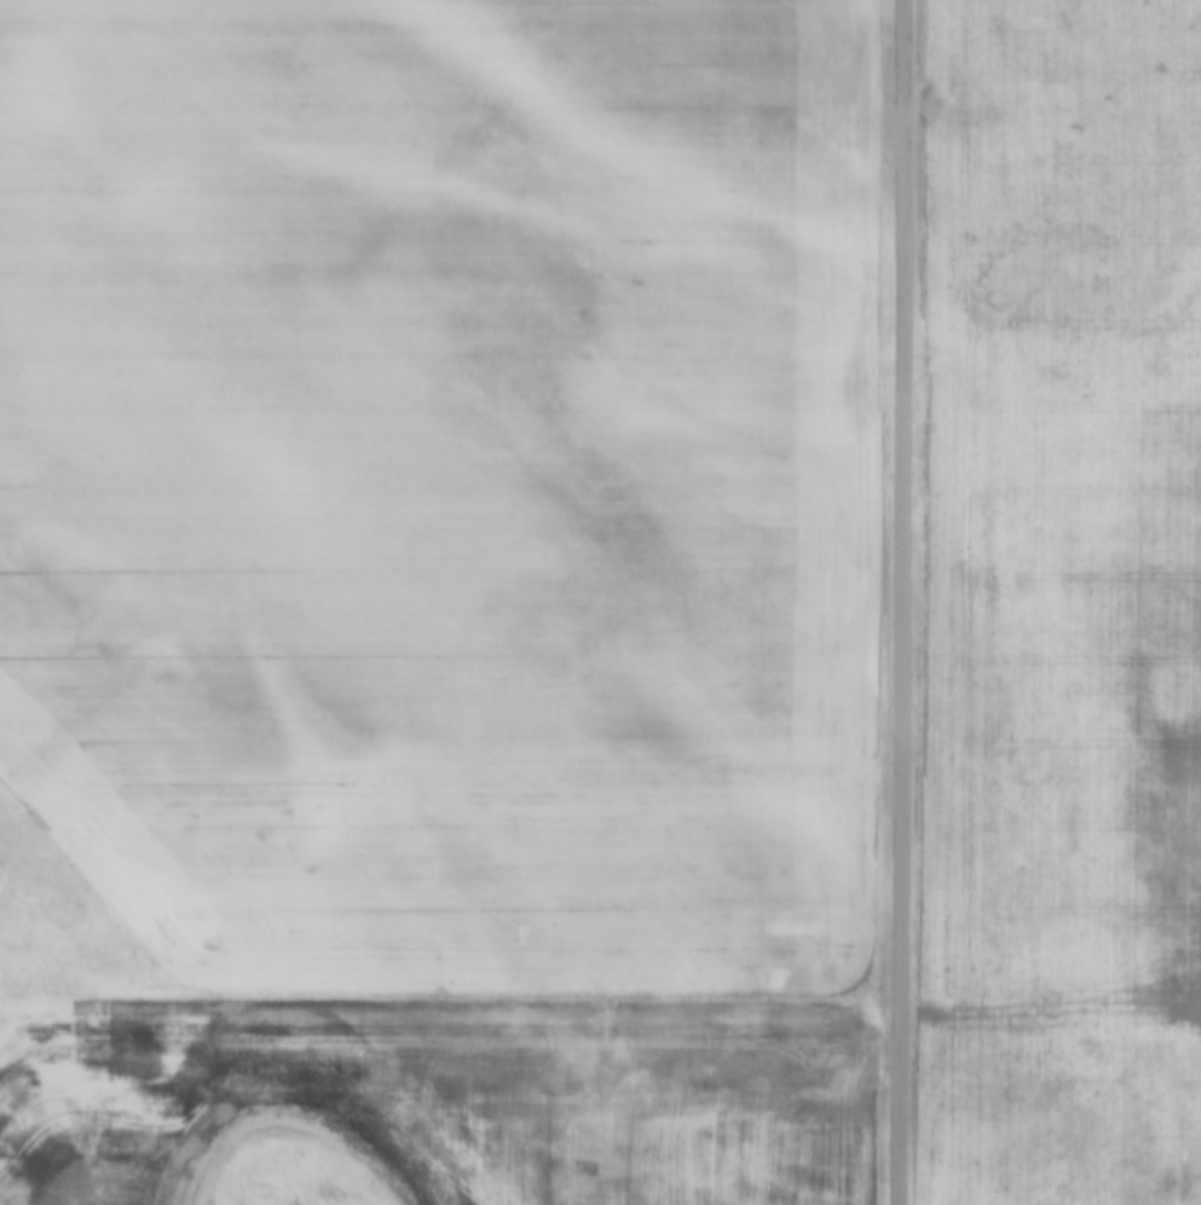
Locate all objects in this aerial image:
road: (899, 602)

